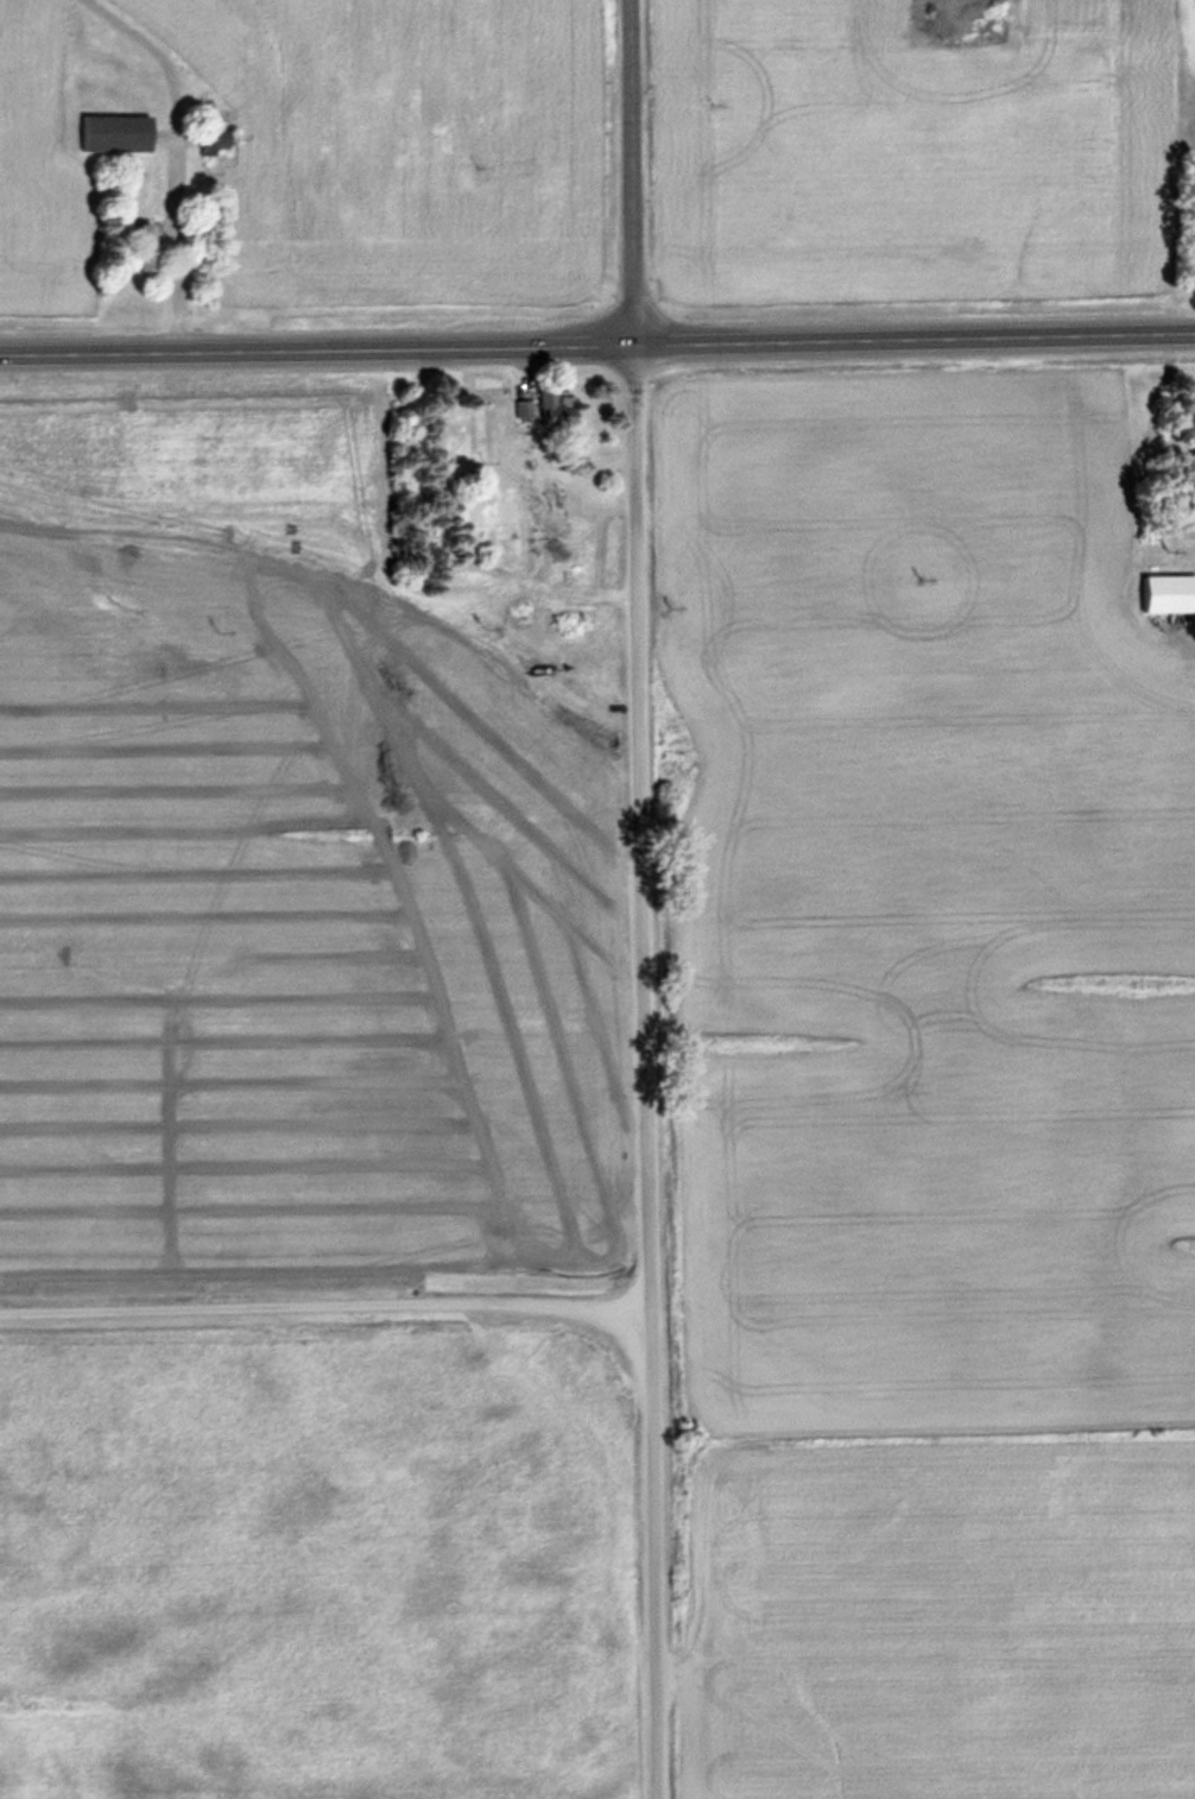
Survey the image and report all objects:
building: (118, 131)
road: (627, 171)
building: (144, 245)
road: (596, 342)
building: (557, 408)
building: (523, 411)
building: (1188, 461)
building: (1163, 591)
road: (649, 1069)

